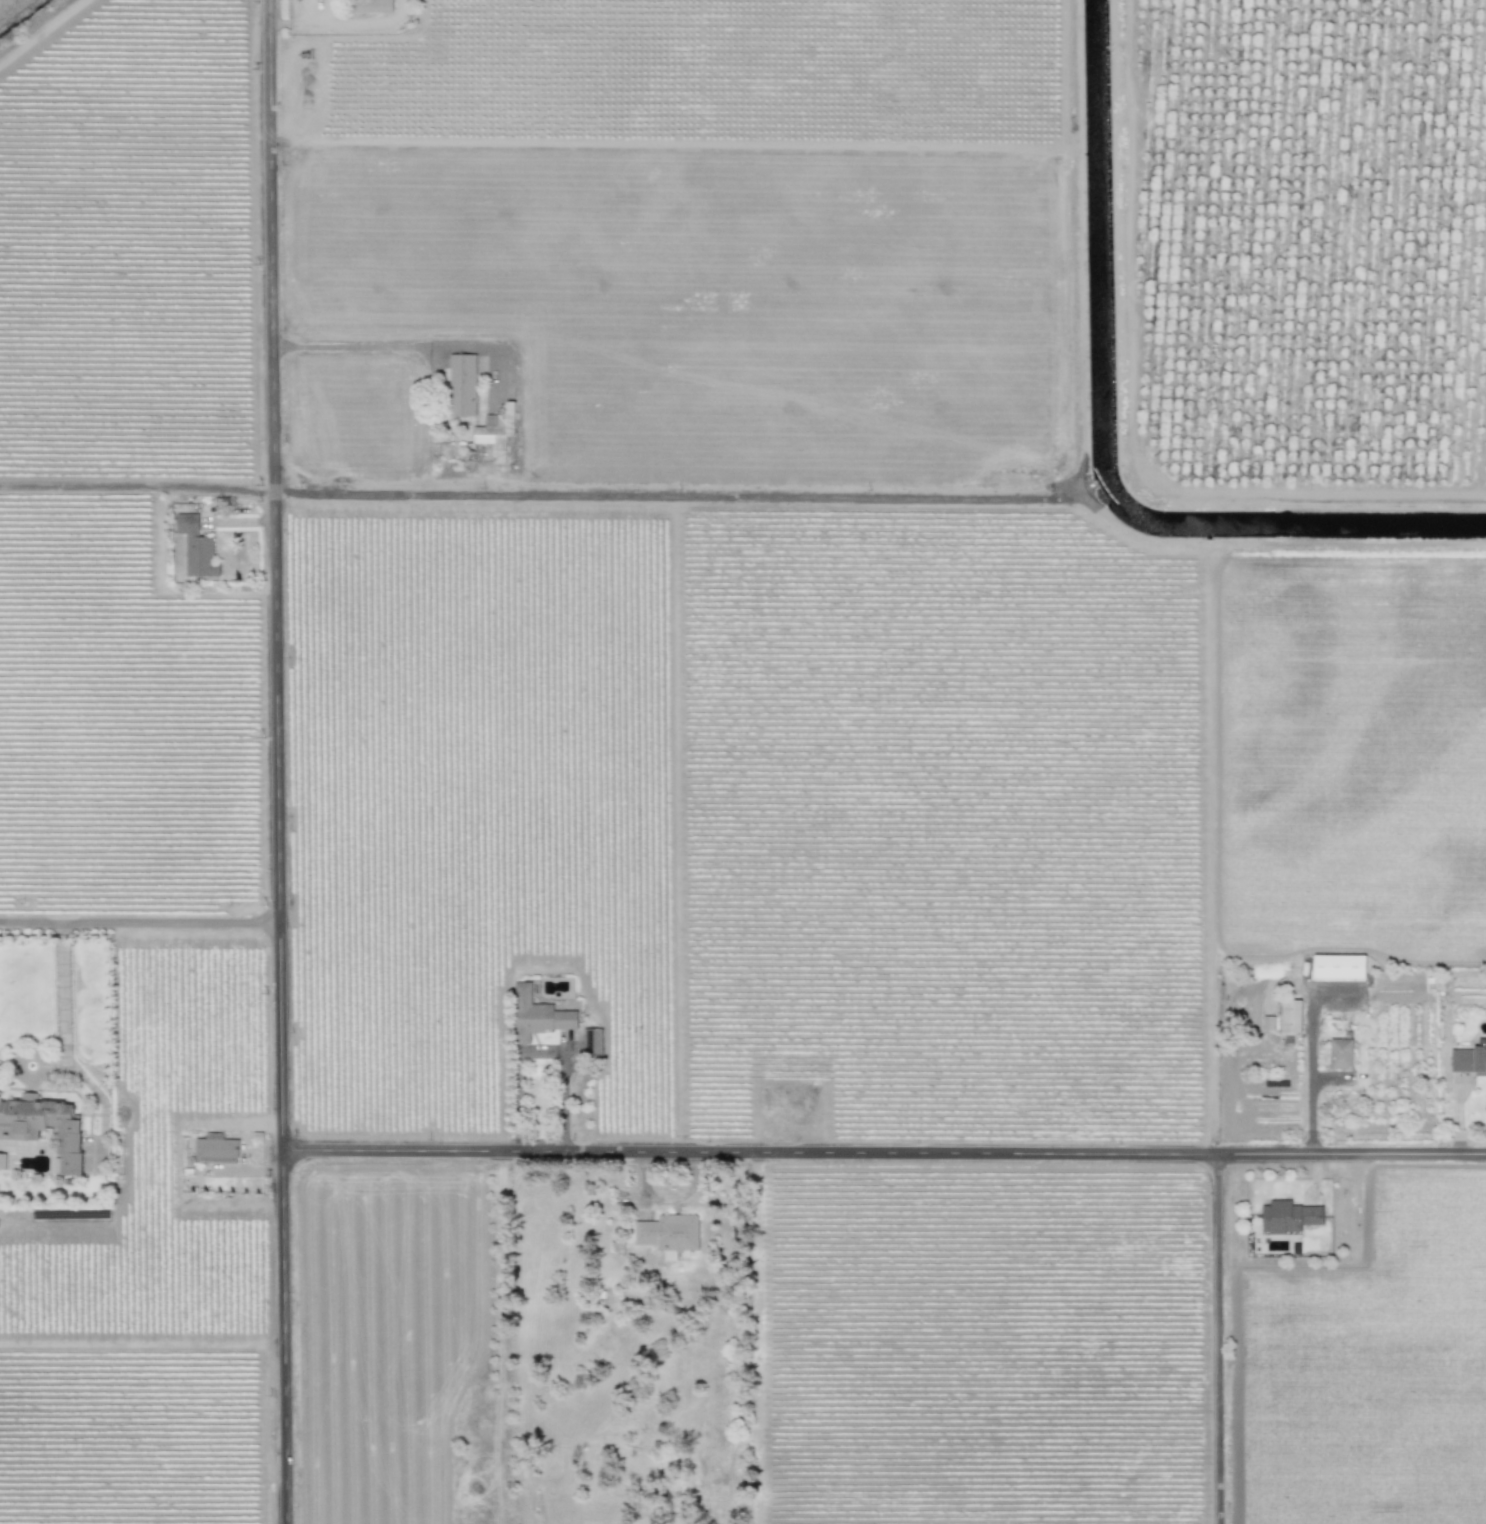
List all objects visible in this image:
building: (372, 6)
road: (392, 347)
building: (461, 385)
building: (496, 430)
building: (196, 547)
road: (278, 762)
road: (140, 923)
building: (1338, 967)
road: (61, 982)
building: (537, 1015)
building: (1290, 1016)
building: (1268, 1022)
building: (591, 1043)
building: (1340, 1053)
road: (541, 1054)
building: (1469, 1059)
road: (1310, 1062)
building: (44, 1127)
building: (216, 1148)
road: (884, 1155)
building: (2, 1161)
building: (1288, 1217)
building: (669, 1234)
road: (1220, 1340)

